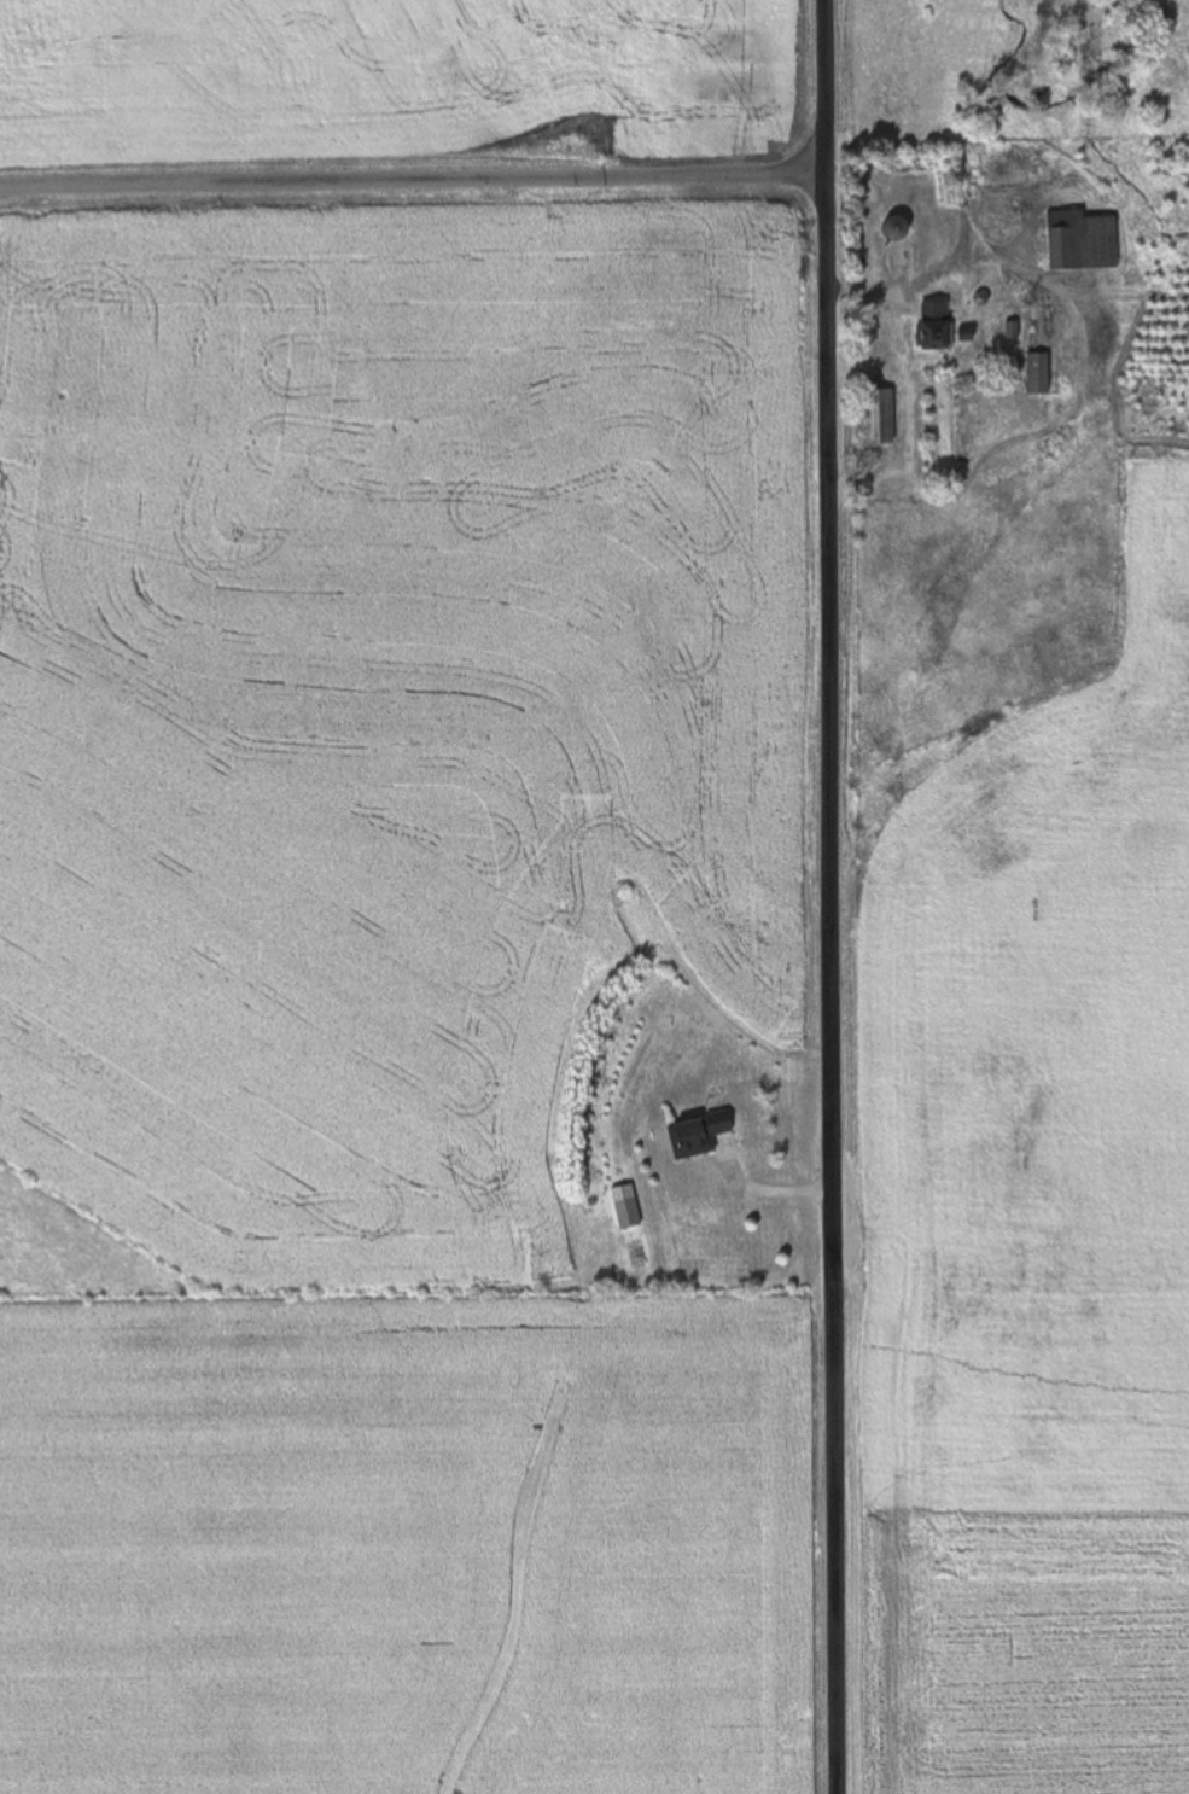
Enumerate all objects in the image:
road: (410, 182)
building: (896, 228)
building: (1082, 241)
building: (901, 257)
building: (937, 334)
building: (1038, 373)
building: (879, 417)
road: (827, 896)
building: (698, 1135)
building: (628, 1213)

